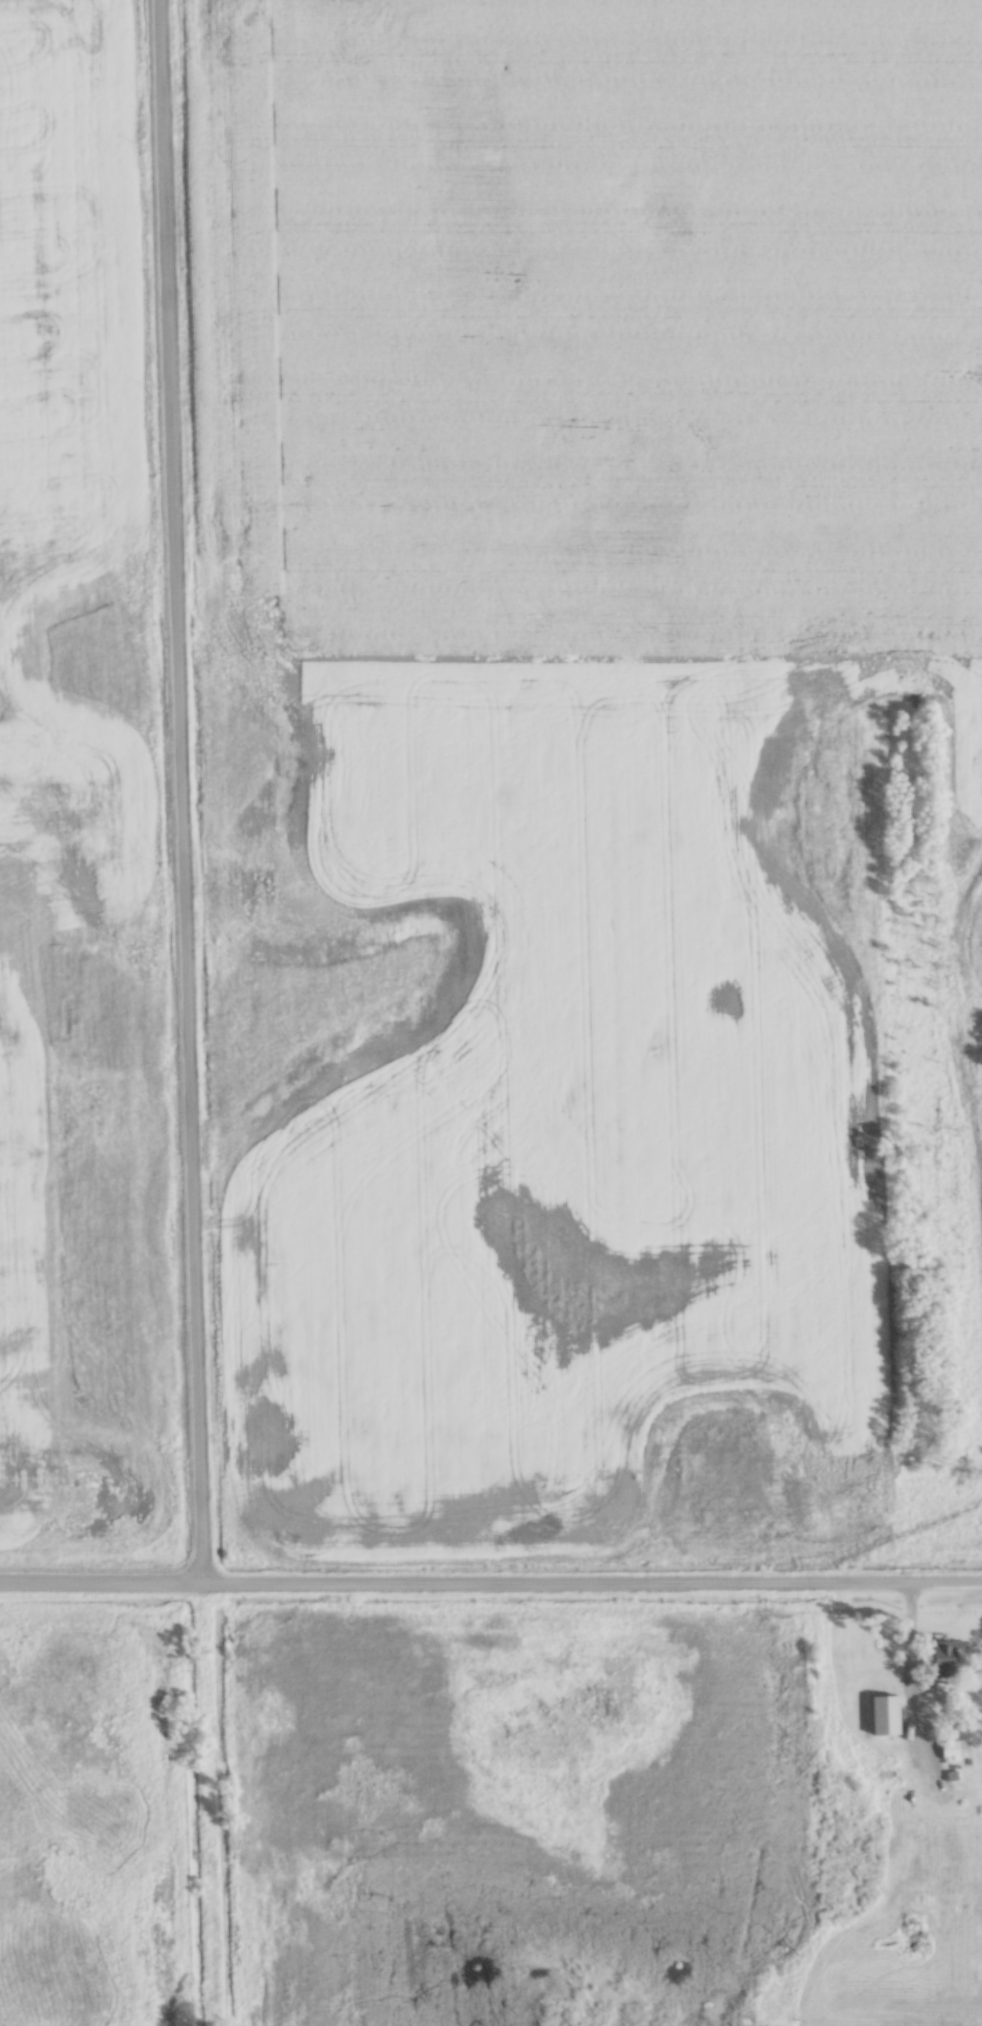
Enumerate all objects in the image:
road: (180, 790)
road: (490, 1581)
building: (941, 1660)
building: (895, 1721)
building: (949, 1750)

